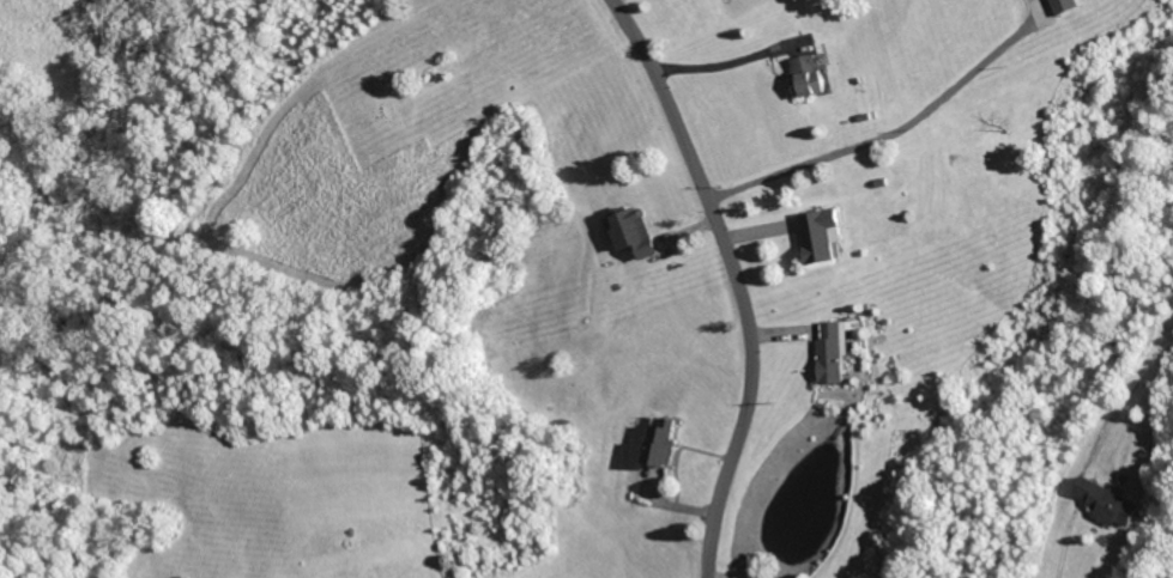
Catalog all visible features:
building: (1071, 6)
road: (721, 63)
building: (814, 75)
road: (884, 140)
building: (639, 231)
building: (827, 235)
road: (740, 279)
building: (839, 352)
building: (665, 444)
building: (1112, 503)
road: (1069, 542)

